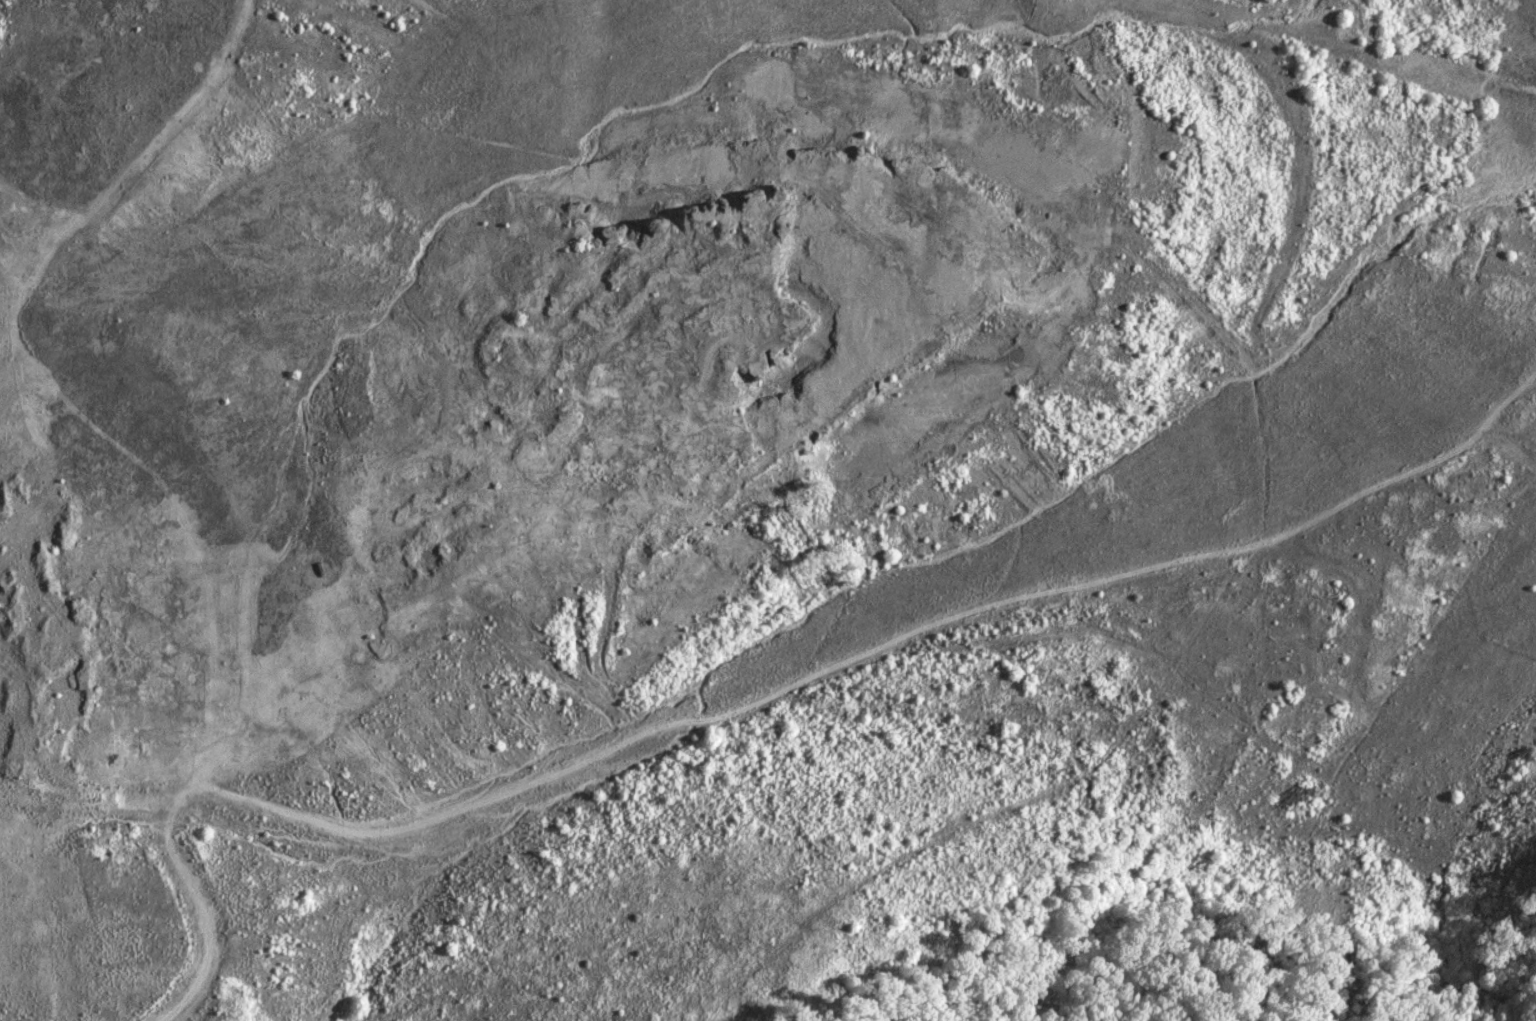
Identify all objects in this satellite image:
quarry: (743, 434)
road: (755, 701)

